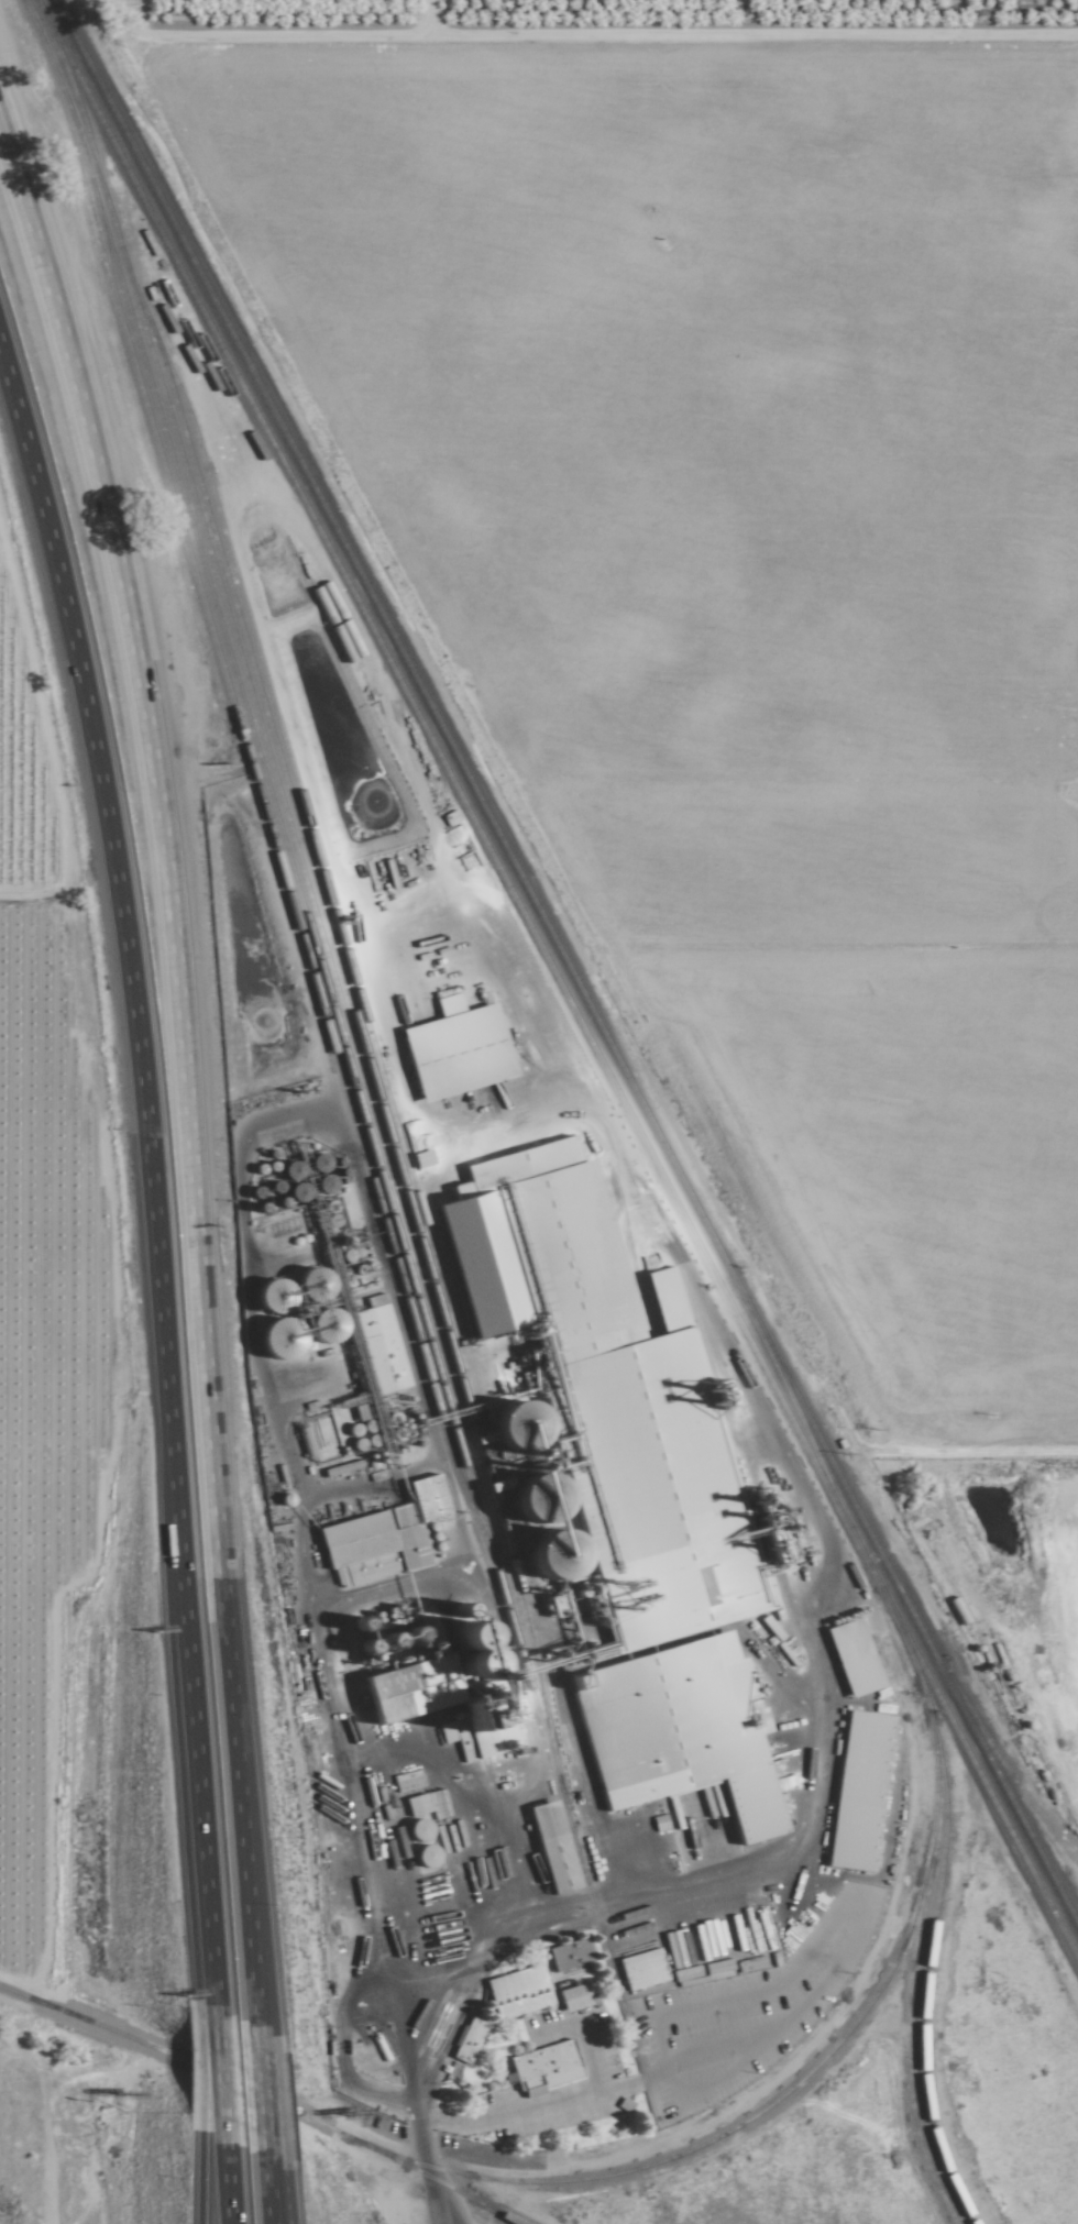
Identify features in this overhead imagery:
railway: (86, 156)
railway: (308, 844)
road: (161, 845)
railway: (277, 866)
railway: (300, 888)
railway: (565, 962)
railway: (555, 978)
railway: (341, 997)
building: (452, 1045)
railway: (341, 1054)
road: (143, 1176)
building: (457, 1267)
building: (471, 1330)
building: (380, 1347)
crop: (67, 1441)
building: (376, 1524)
building: (842, 1641)
building: (487, 1720)
building: (702, 1751)
railway: (1003, 1765)
building: (854, 1791)
road: (238, 1793)
building: (413, 1804)
building: (548, 1847)
road: (591, 1908)
building: (566, 1952)
railway: (926, 1963)
building: (638, 1967)
building: (514, 1990)
building: (569, 1995)
building: (464, 2039)
railway: (908, 2040)
railway: (824, 2056)
road: (199, 2062)
building: (540, 2063)
road: (209, 2068)
road: (258, 2090)
road: (267, 2094)
railway: (262, 2096)
road: (504, 2113)
road: (193, 2178)
road: (217, 2183)
road: (265, 2191)
road: (283, 2195)
road: (437, 2200)

